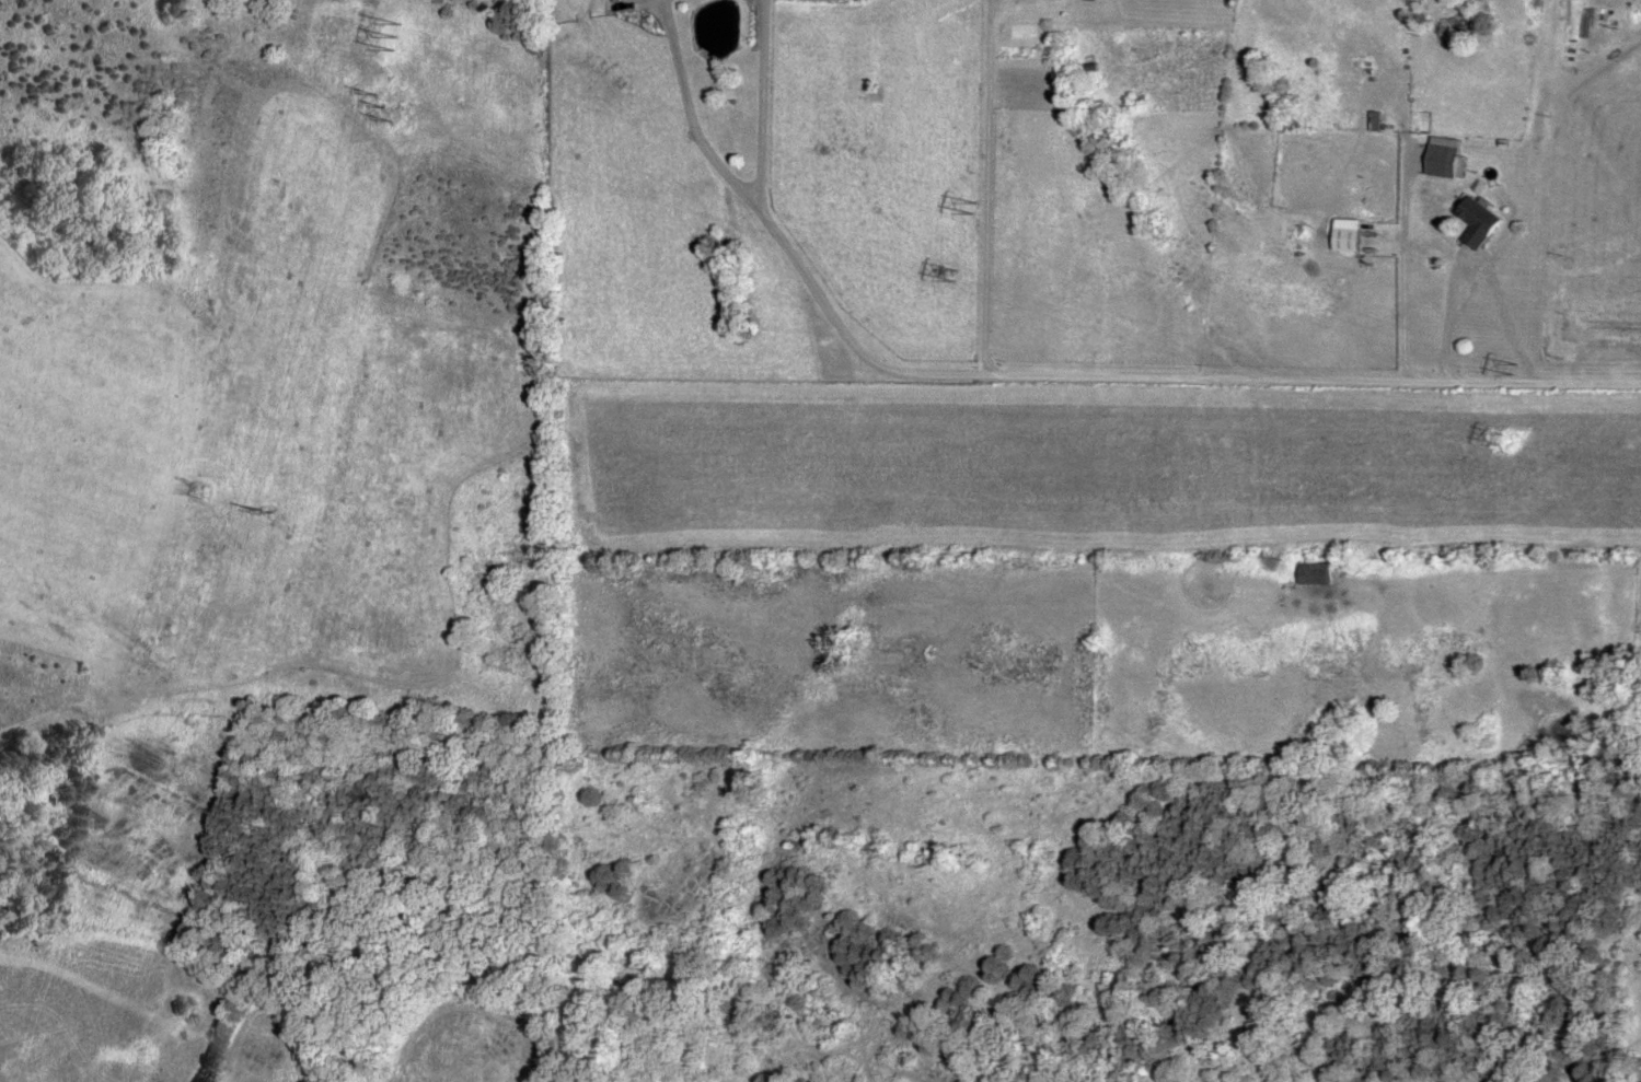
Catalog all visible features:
road: (763, 104)
road: (985, 188)
building: (1481, 219)
building: (1351, 237)
road: (1414, 270)
road: (1458, 323)
building: (1615, 323)
road: (1040, 377)
building: (1317, 572)

